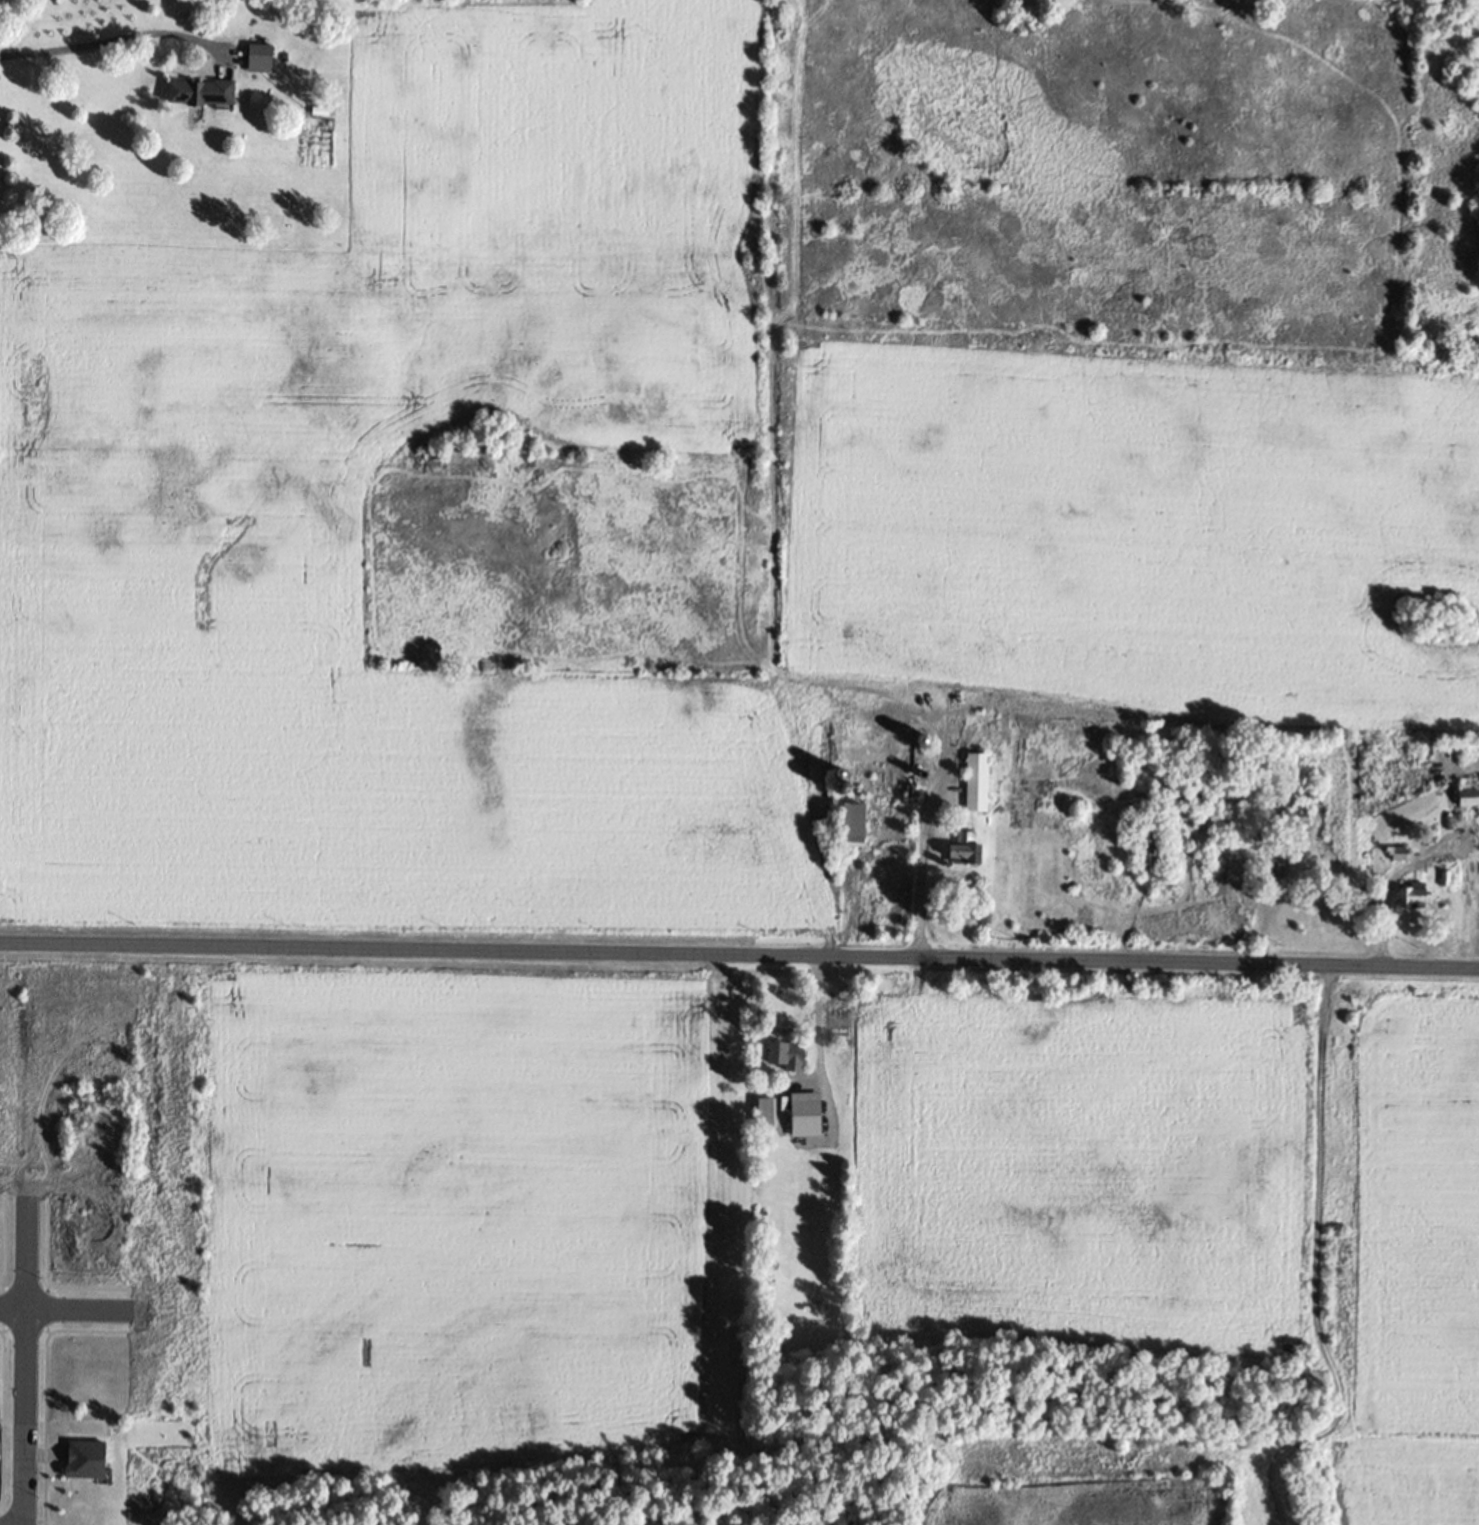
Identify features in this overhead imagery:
road: (118, 36)
building: (267, 63)
building: (207, 97)
building: (983, 788)
building: (1205, 797)
building: (1472, 803)
building: (1304, 824)
building: (863, 831)
building: (1155, 848)
building: (971, 854)
road: (917, 867)
building: (1419, 901)
road: (739, 953)
road: (820, 1018)
building: (790, 1060)
building: (771, 1117)
building: (811, 1120)
road: (71, 1308)
road: (27, 1364)

